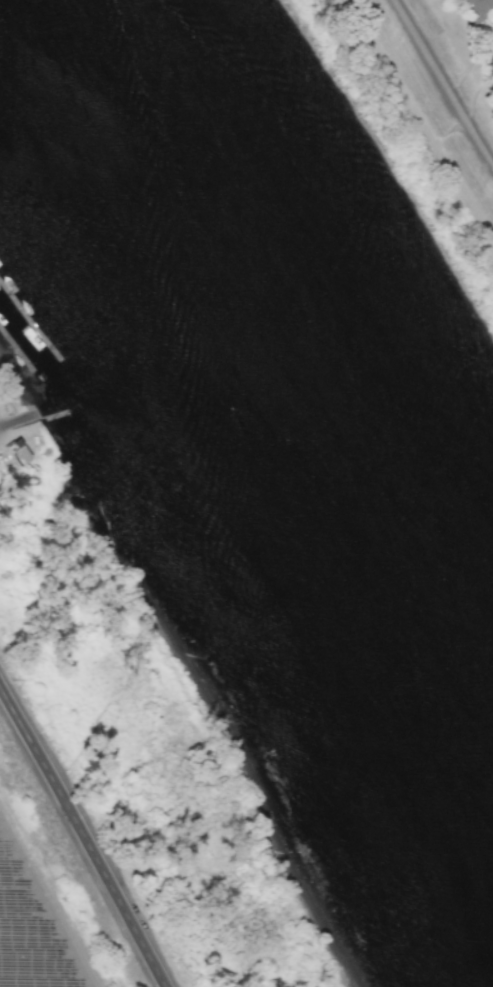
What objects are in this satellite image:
building: (477, 9)
road: (443, 84)
pier: (30, 318)
pier: (17, 347)
river: (263, 400)
road: (4, 421)
road: (83, 836)
crop: (15, 958)

